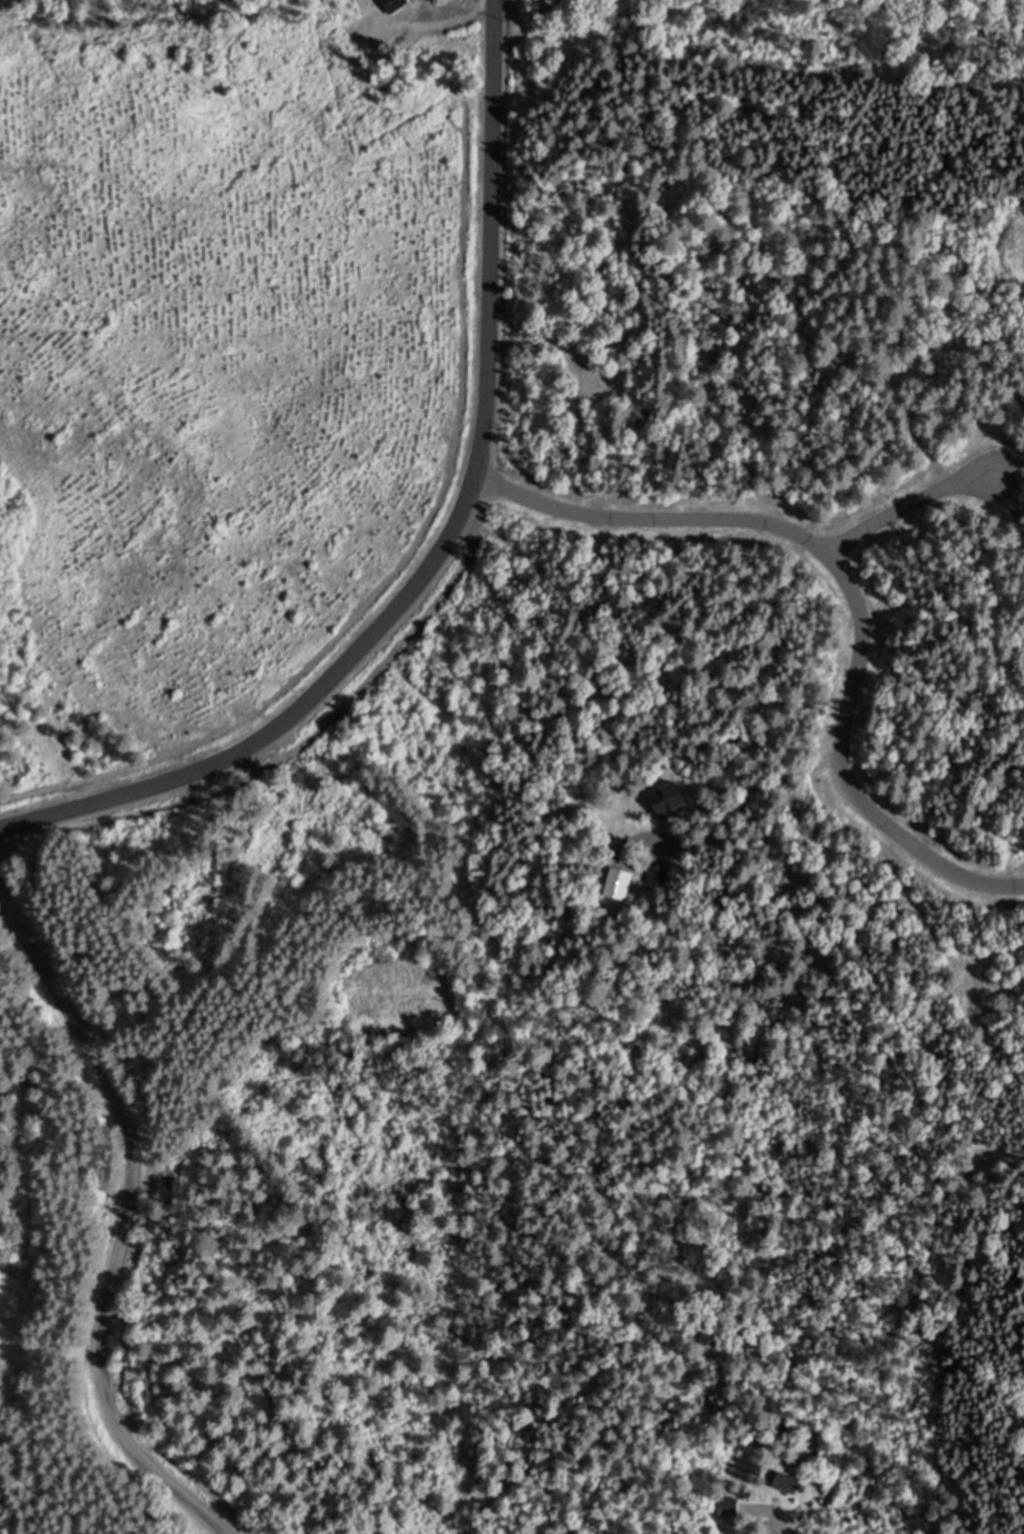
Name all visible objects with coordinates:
building: (395, 4)
road: (527, 29)
road: (578, 393)
road: (906, 507)
road: (446, 541)
road: (854, 588)
building: (674, 801)
building: (662, 874)
road: (121, 1210)
building: (791, 1483)

